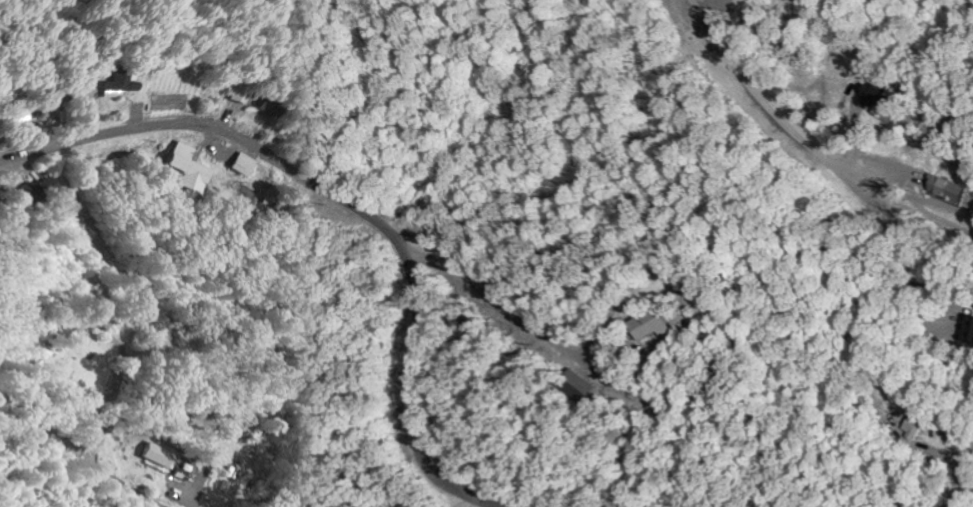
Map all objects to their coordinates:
building: (113, 83)
building: (233, 92)
building: (885, 99)
building: (262, 105)
building: (11, 114)
building: (243, 164)
building: (186, 168)
building: (949, 188)
building: (40, 190)
road: (344, 202)
building: (636, 324)
building: (969, 328)
building: (915, 424)
building: (157, 454)
road: (105, 477)
road: (954, 498)

